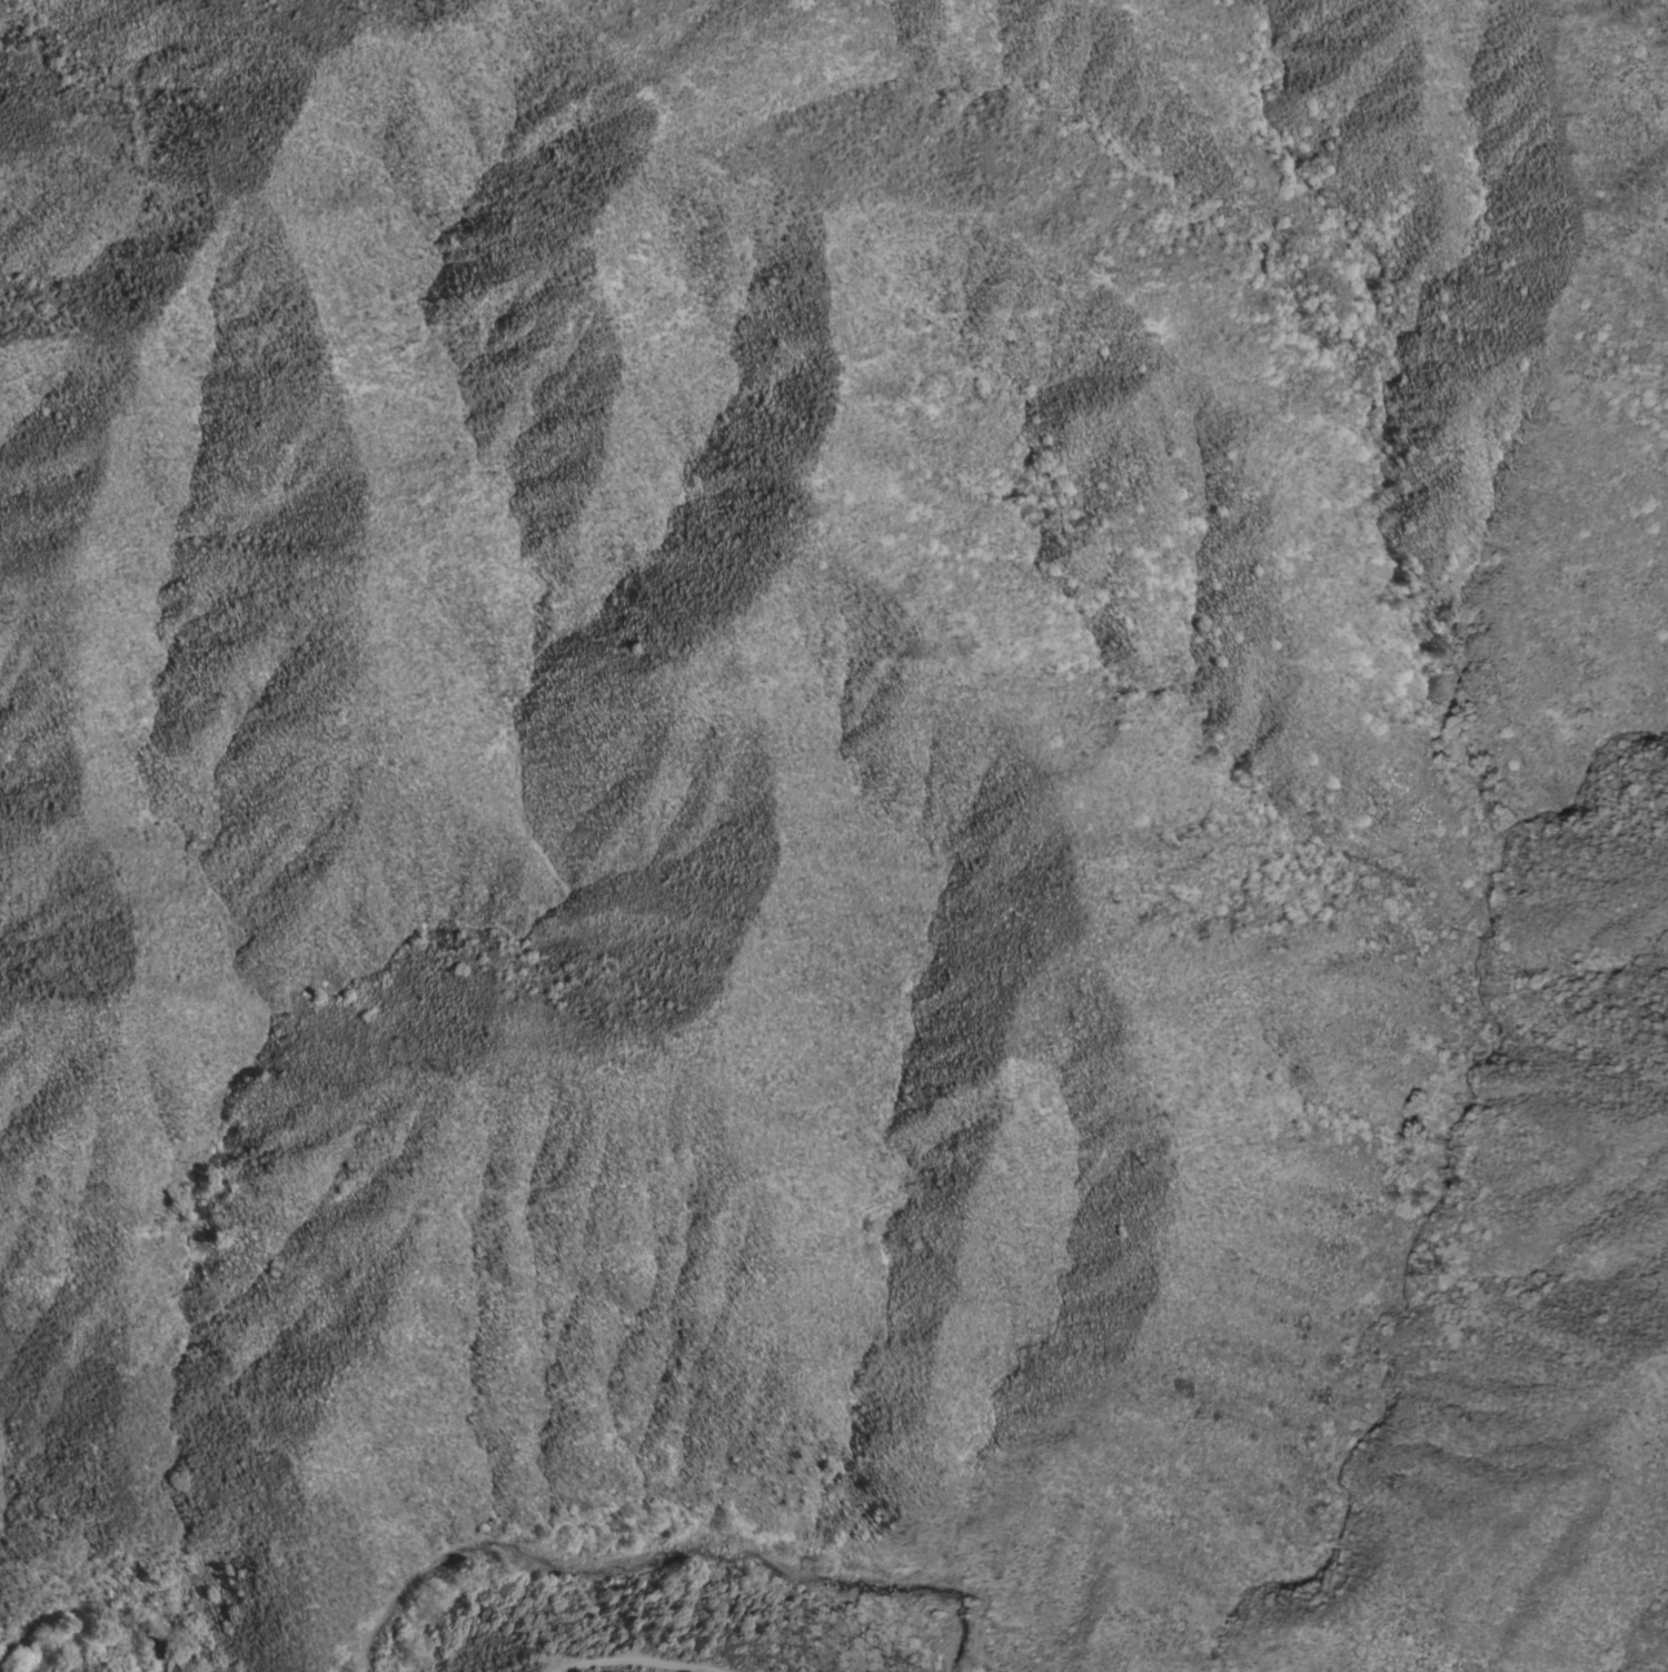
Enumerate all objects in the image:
road: (639, 1658)

